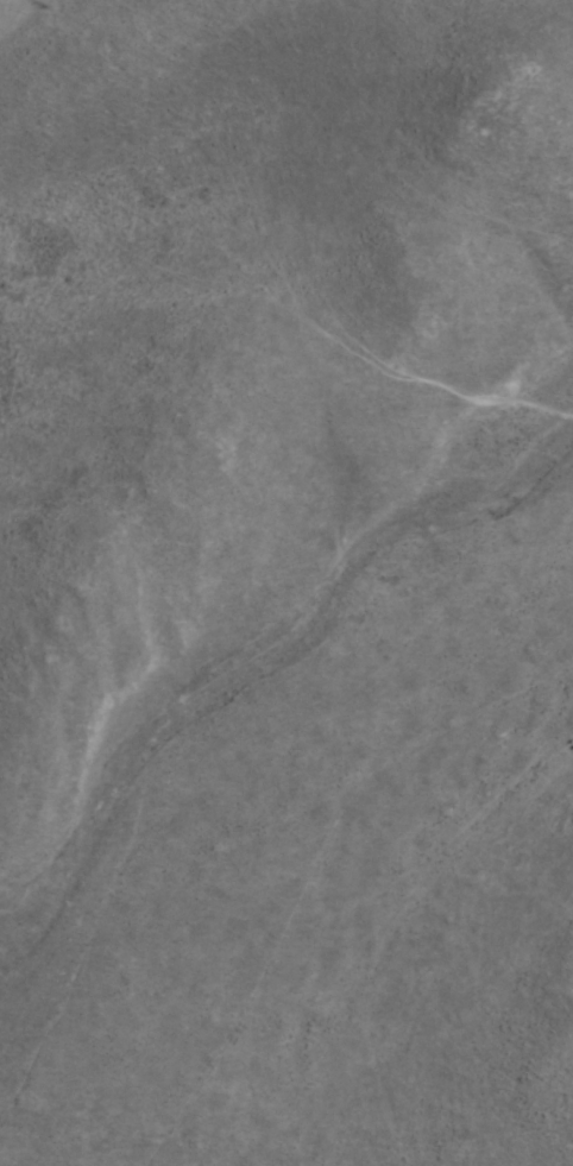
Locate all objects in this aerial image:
road: (373, 948)
road: (389, 1069)

